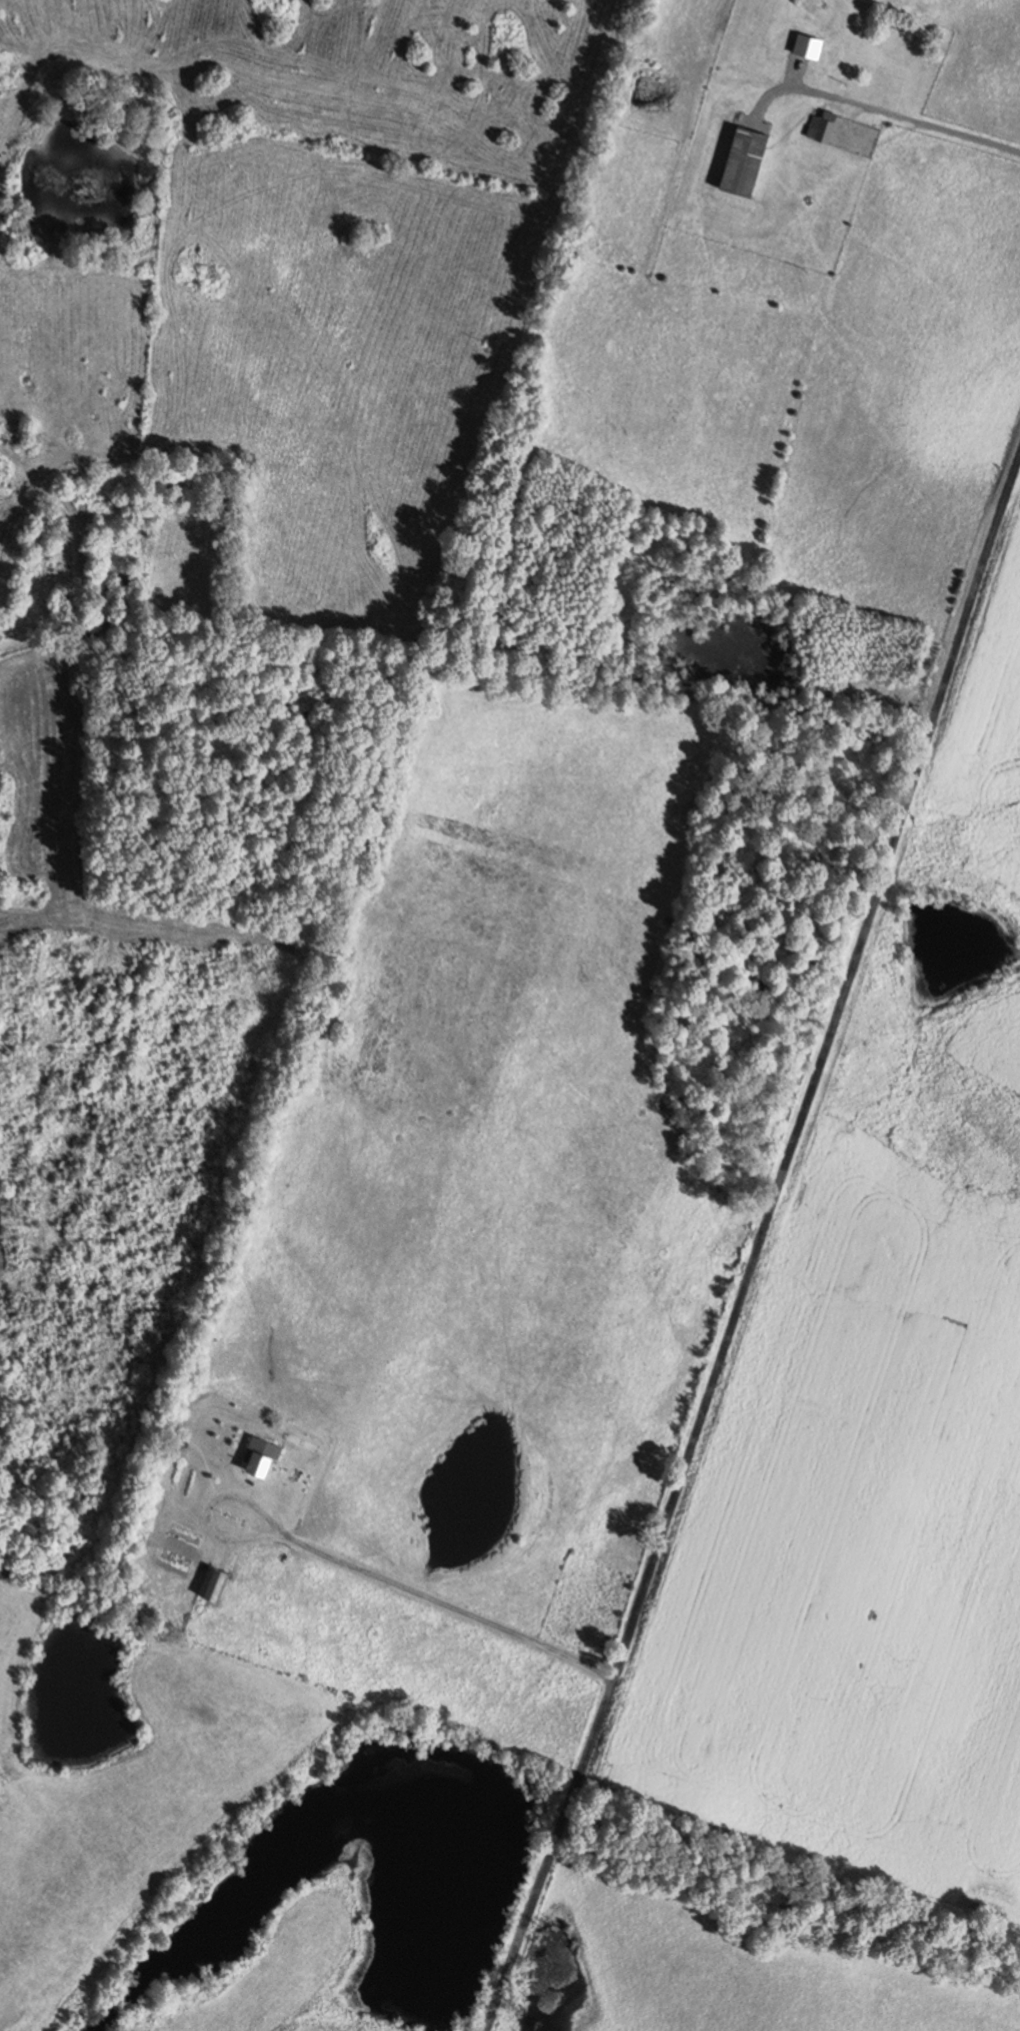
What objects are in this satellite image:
road: (466, 660)
road: (761, 1251)

